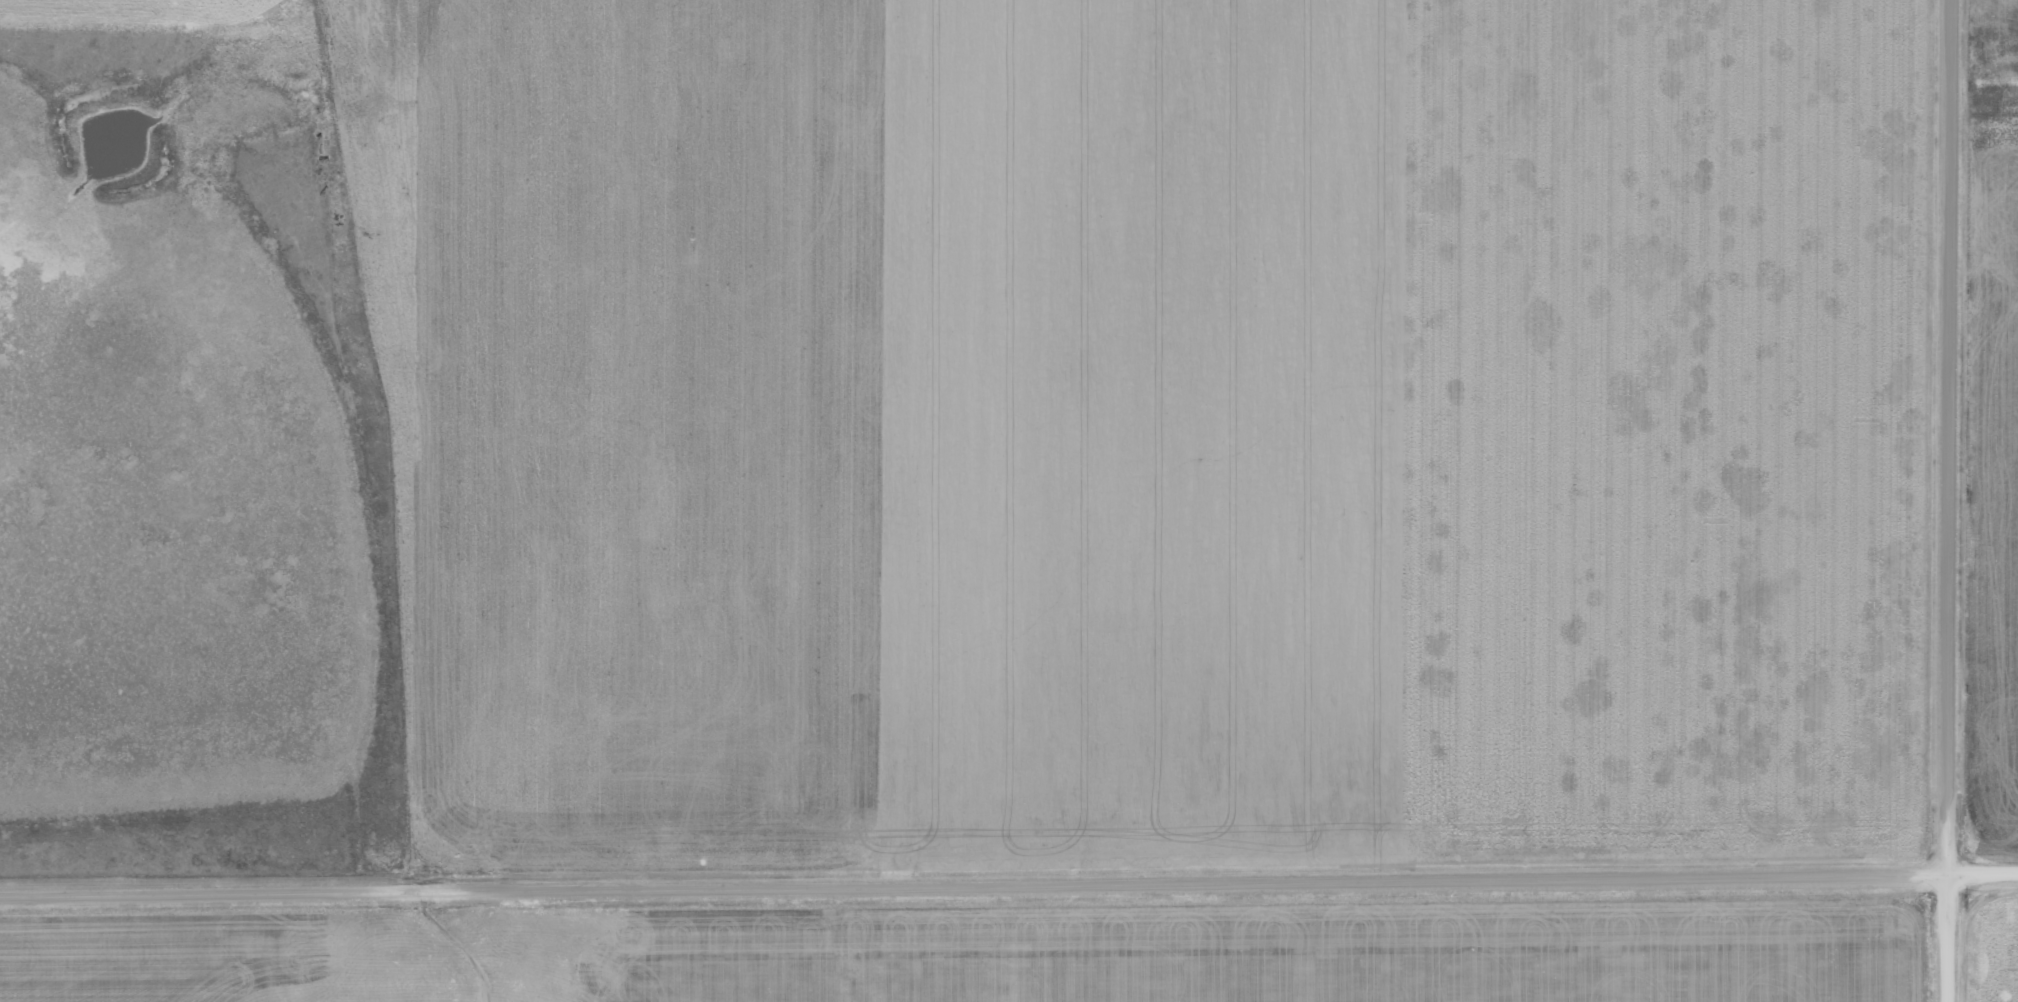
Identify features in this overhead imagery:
road: (1948, 500)
road: (1008, 882)

